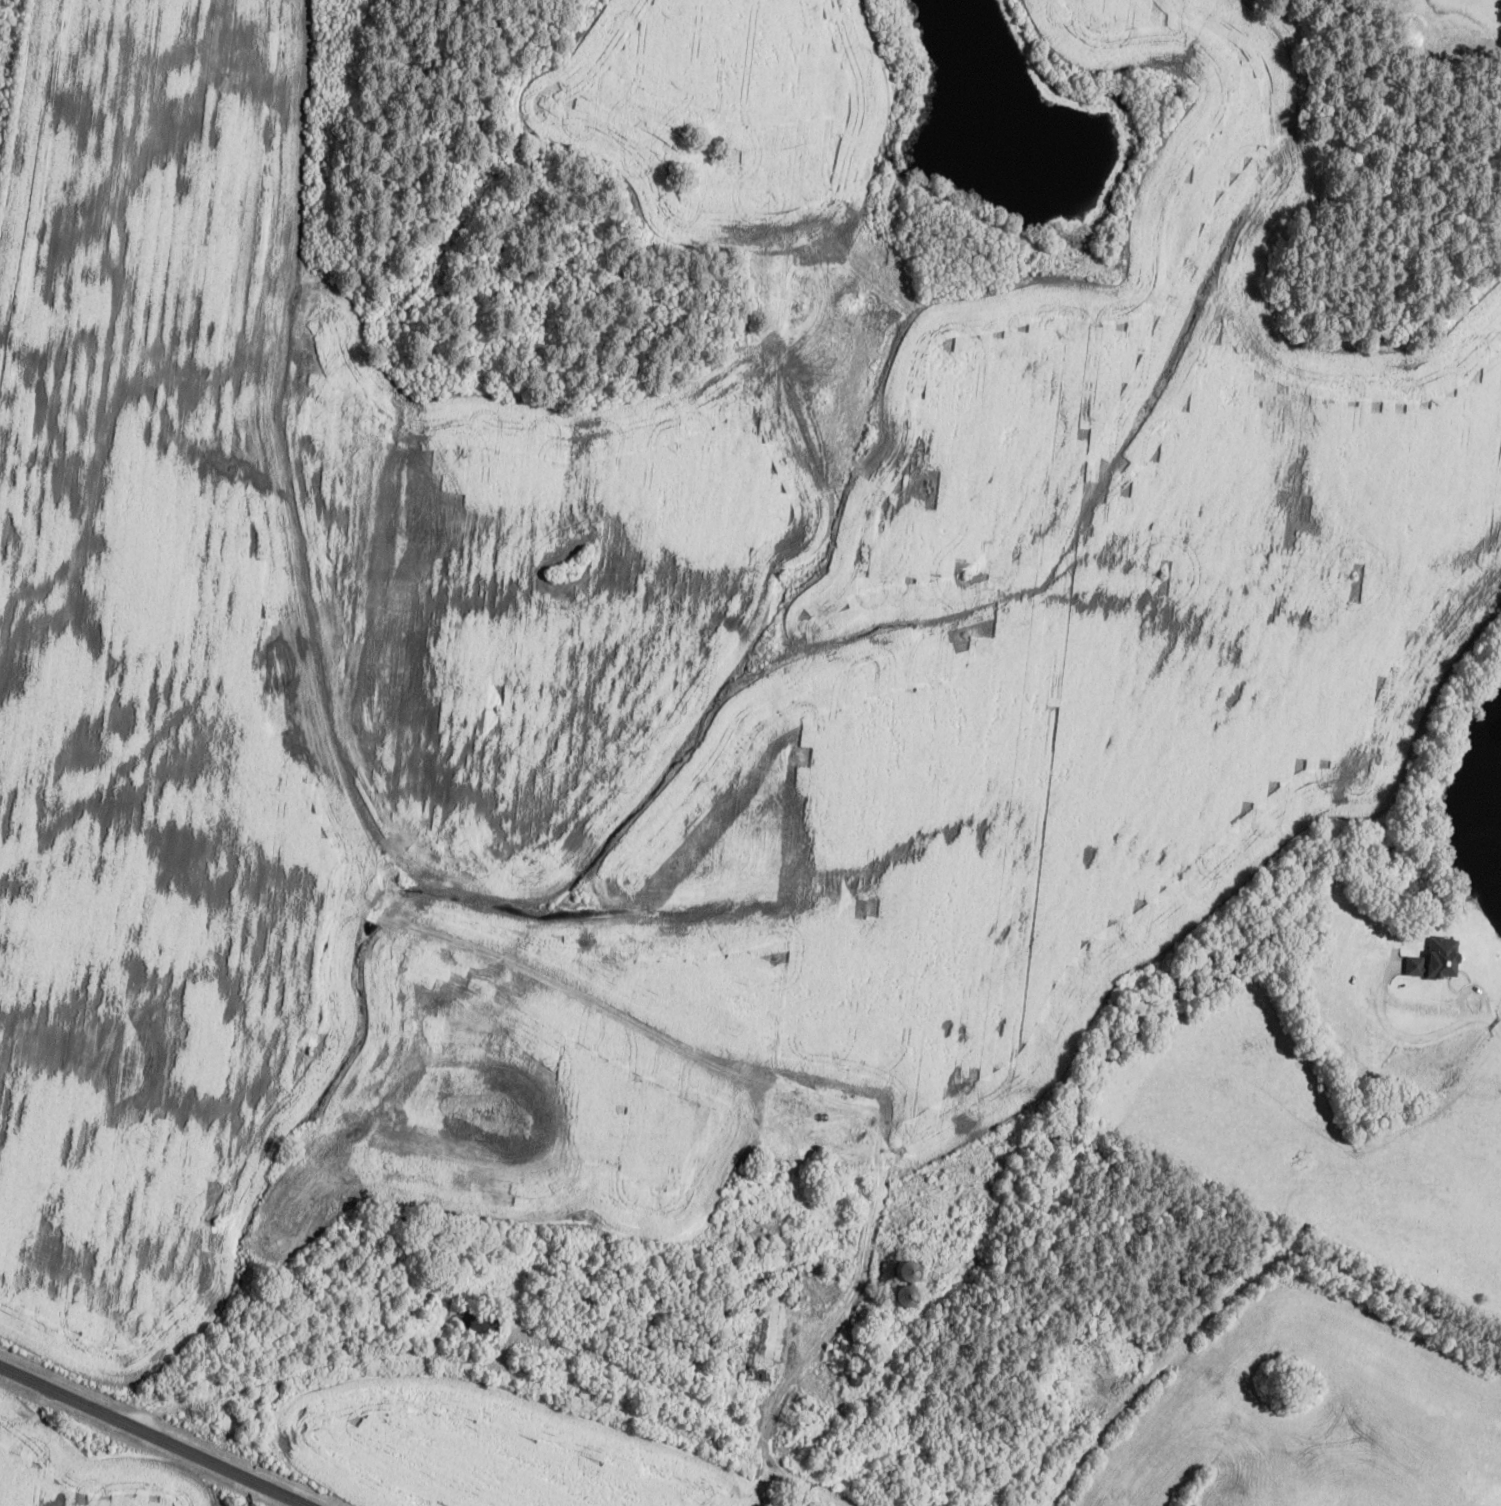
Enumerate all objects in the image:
building: (1436, 959)
building: (904, 1295)
building: (483, 1323)
road: (156, 1437)

